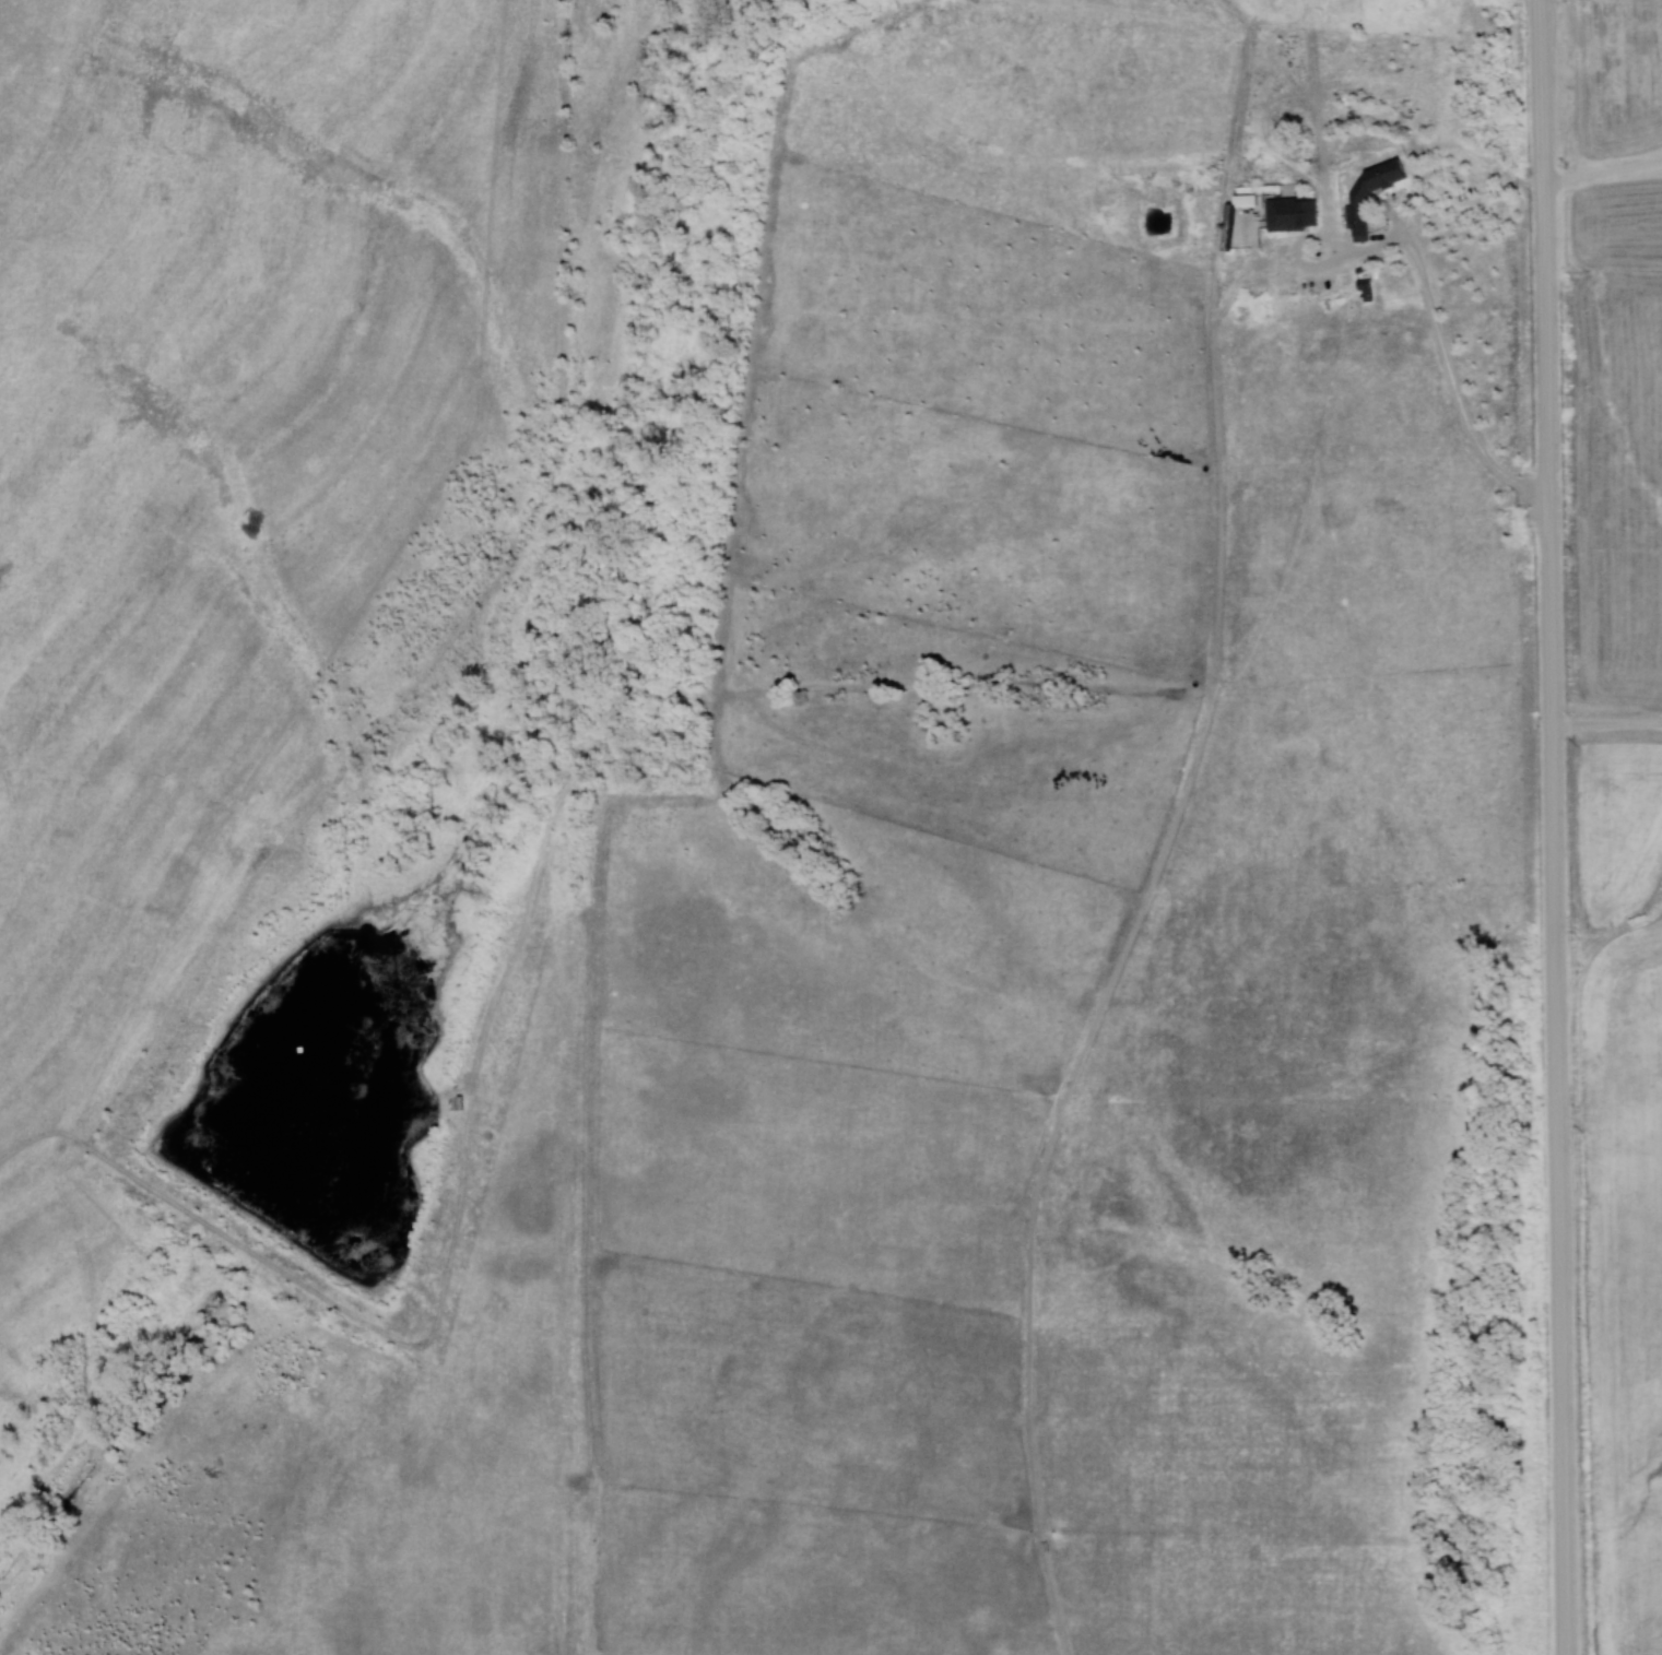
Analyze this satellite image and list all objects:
road: (1602, 174)
building: (1241, 201)
building: (1356, 212)
building: (1288, 215)
road: (1452, 380)
road: (1606, 724)
road: (1553, 827)

